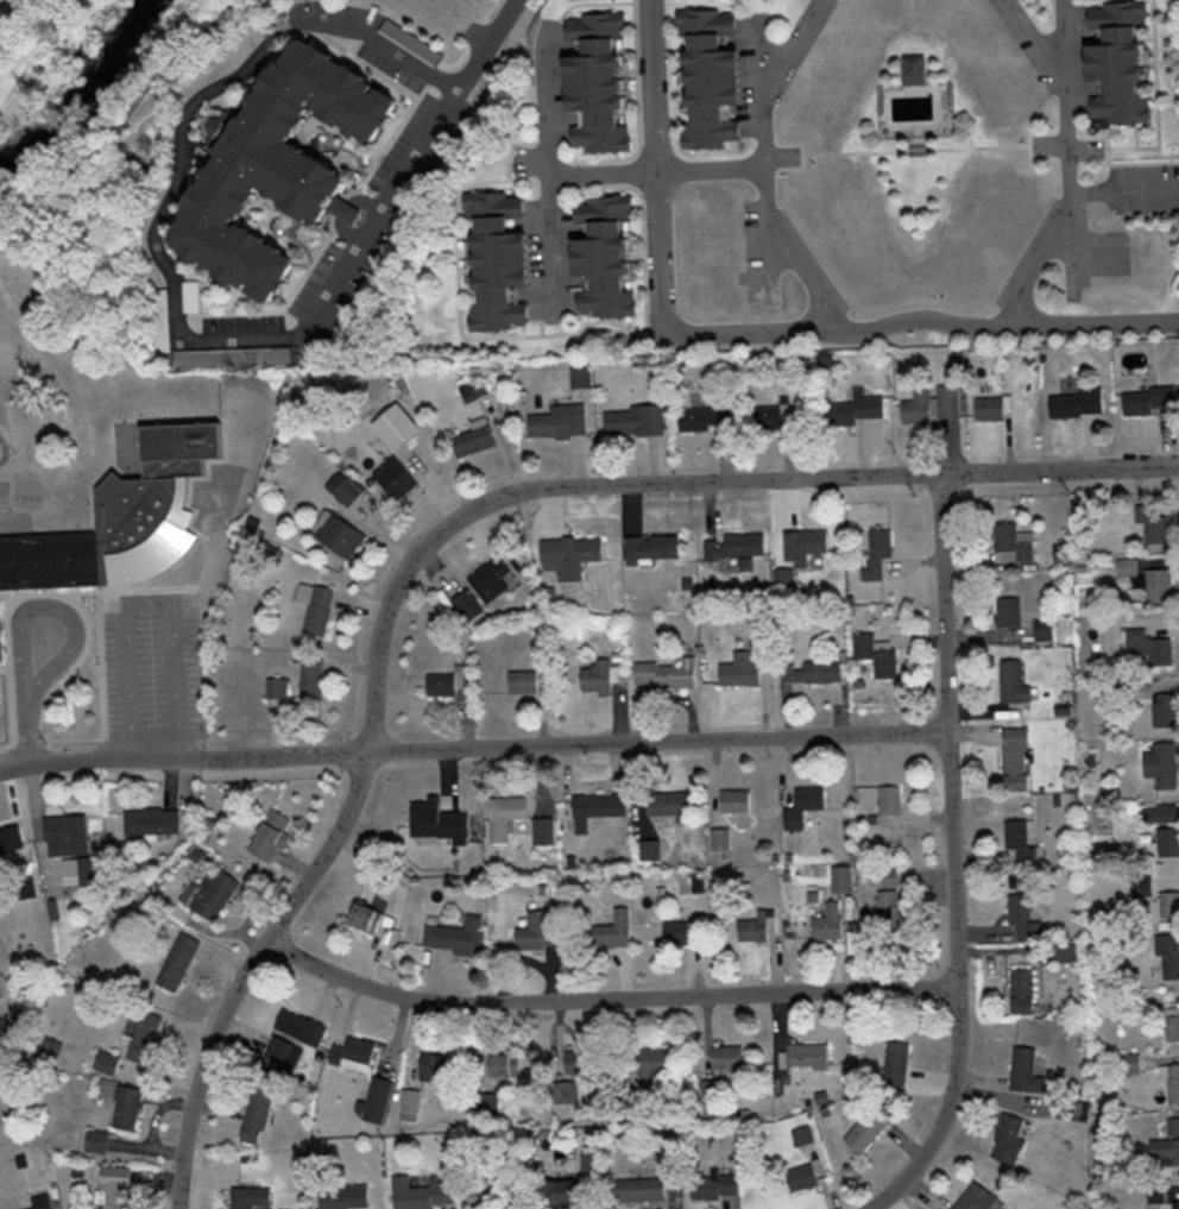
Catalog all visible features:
park: (1047, 12)
park: (787, 14)
road: (1041, 39)
road: (491, 44)
road: (769, 61)
building: (1121, 62)
building: (919, 69)
building: (714, 77)
building: (601, 80)
road: (1036, 144)
road: (922, 147)
park: (922, 152)
road: (809, 153)
building: (284, 163)
road: (770, 166)
road: (1076, 169)
road: (550, 171)
road: (661, 171)
road: (1128, 195)
road: (1079, 244)
road: (774, 250)
building: (607, 256)
building: (503, 259)
road: (171, 265)
road: (758, 330)
building: (1148, 401)
building: (948, 402)
building: (1076, 403)
building: (918, 407)
building: (858, 408)
building: (990, 408)
building: (770, 415)
building: (706, 417)
building: (560, 421)
building: (635, 421)
building: (474, 441)
building: (396, 478)
building: (345, 489)
building: (122, 521)
building: (1153, 523)
road: (445, 530)
building: (341, 535)
building: (1014, 543)
building: (806, 544)
building: (737, 546)
building: (651, 548)
building: (878, 552)
building: (572, 555)
building: (1128, 566)
building: (492, 578)
building: (1159, 585)
road: (149, 602)
building: (468, 605)
road: (49, 606)
building: (320, 610)
building: (1009, 612)
building: (1047, 628)
building: (1149, 646)
building: (740, 669)
building: (813, 672)
building: (667, 674)
building: (598, 676)
building: (311, 678)
building: (523, 681)
building: (1014, 681)
building: (441, 684)
building: (277, 688)
building: (1158, 705)
road: (26, 724)
road: (474, 749)
building: (1016, 760)
building: (1162, 764)
building: (736, 800)
building: (669, 802)
building: (889, 804)
building: (805, 806)
building: (597, 808)
building: (428, 811)
building: (1160, 813)
building: (505, 816)
building: (151, 820)
building: (543, 832)
building: (65, 835)
building: (271, 835)
building: (1021, 840)
building: (11, 842)
building: (1167, 842)
road: (954, 856)
building: (81, 871)
building: (884, 876)
building: (843, 879)
building: (214, 894)
building: (1168, 905)
building: (890, 912)
building: (367, 917)
building: (1024, 917)
building: (830, 923)
building: (758, 927)
building: (541, 930)
building: (614, 930)
building: (681, 931)
building: (458, 936)
building: (1068, 952)
building: (1168, 955)
building: (179, 962)
building: (4, 986)
building: (1023, 990)
road: (605, 1001)
building: (1169, 1026)
building: (294, 1037)
building: (146, 1038)
building: (353, 1052)
building: (809, 1056)
building: (729, 1057)
building: (588, 1062)
building: (897, 1062)
building: (108, 1063)
building: (654, 1064)
building: (505, 1065)
building: (436, 1066)
building: (1026, 1071)
building: (1171, 1084)
building: (382, 1088)
building: (568, 1091)
building: (713, 1098)
building: (411, 1101)
building: (121, 1102)
building: (490, 1103)
building: (258, 1114)
building: (866, 1131)
building: (803, 1135)
building: (99, 1140)
building: (1009, 1140)
building: (1167, 1145)
building: (593, 1164)
building: (803, 1177)
building: (717, 1185)
building: (116, 1186)
building: (515, 1191)
building: (641, 1191)
building: (563, 1194)
building: (422, 1195)
building: (483, 1195)
building: (39, 1198)
building: (242, 1198)
building: (978, 1198)
building: (334, 1199)
building: (1175, 1205)

